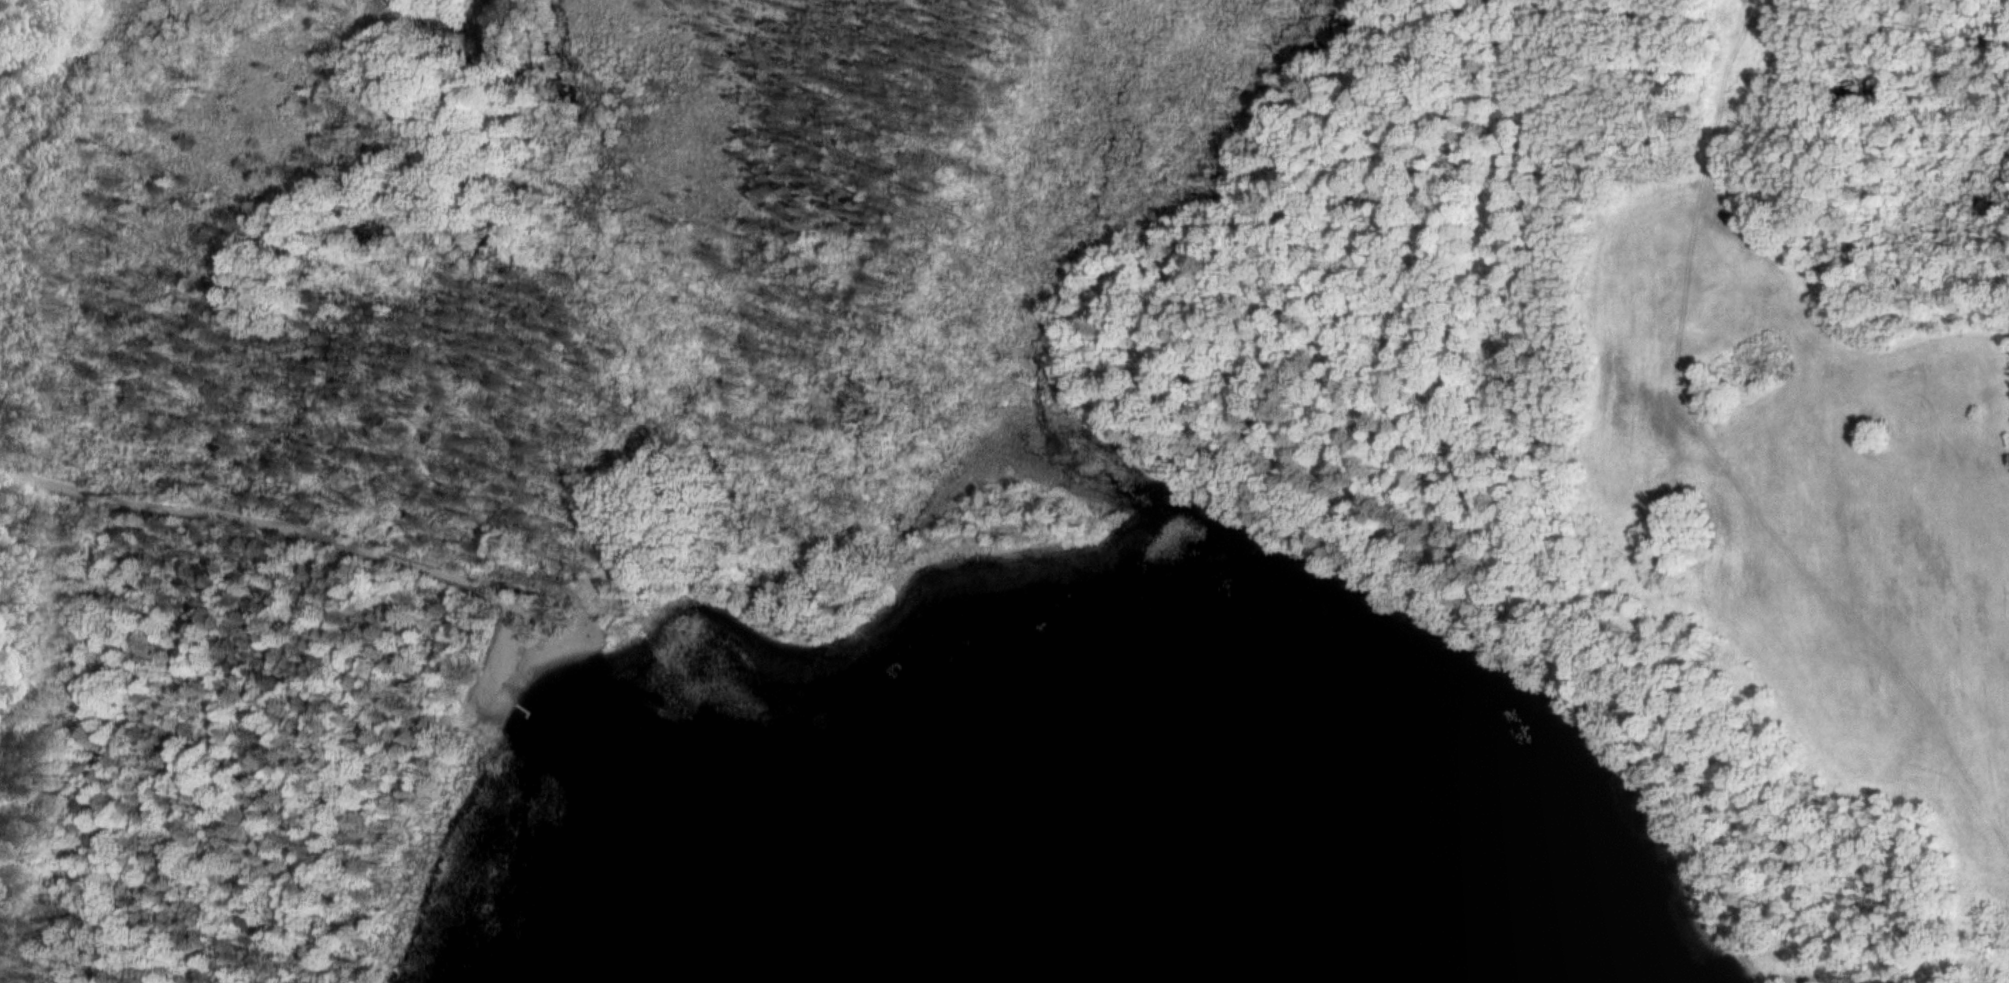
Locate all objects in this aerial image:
road: (283, 570)

